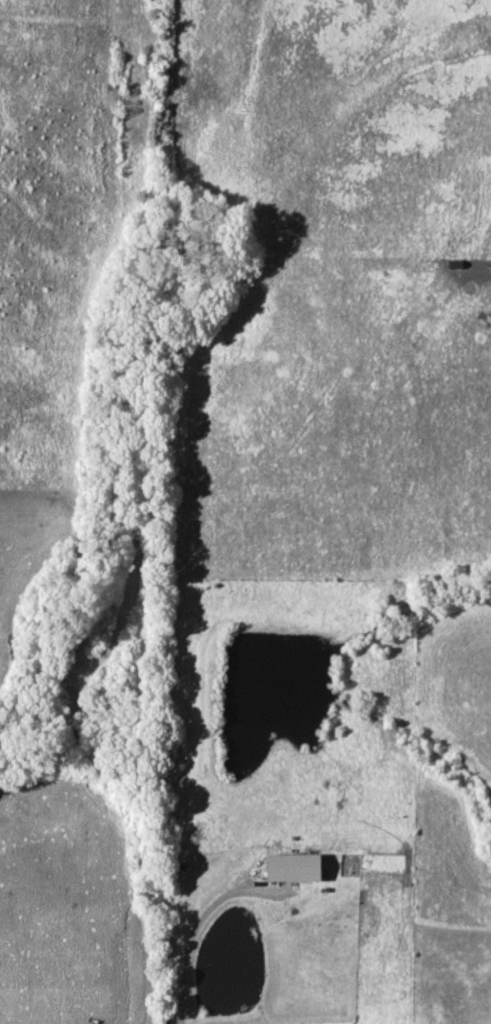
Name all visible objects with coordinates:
building: (292, 867)
road: (186, 936)

